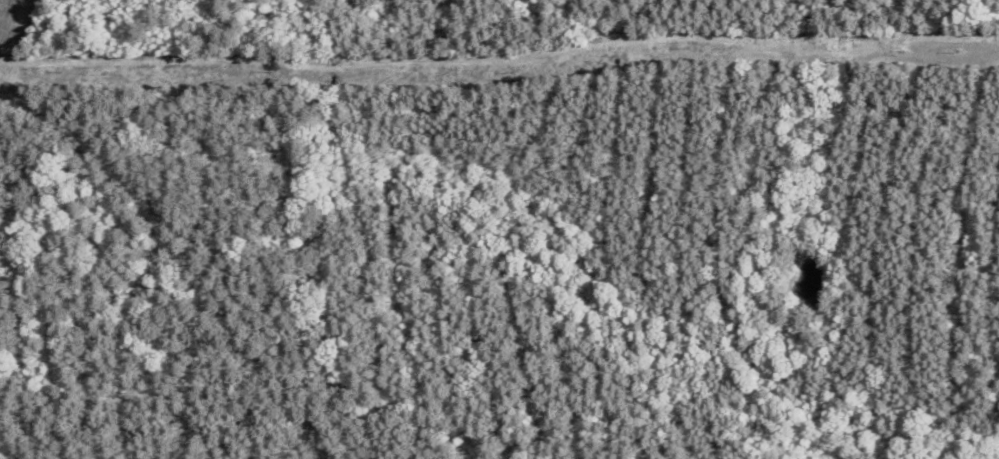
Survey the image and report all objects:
road: (500, 64)

